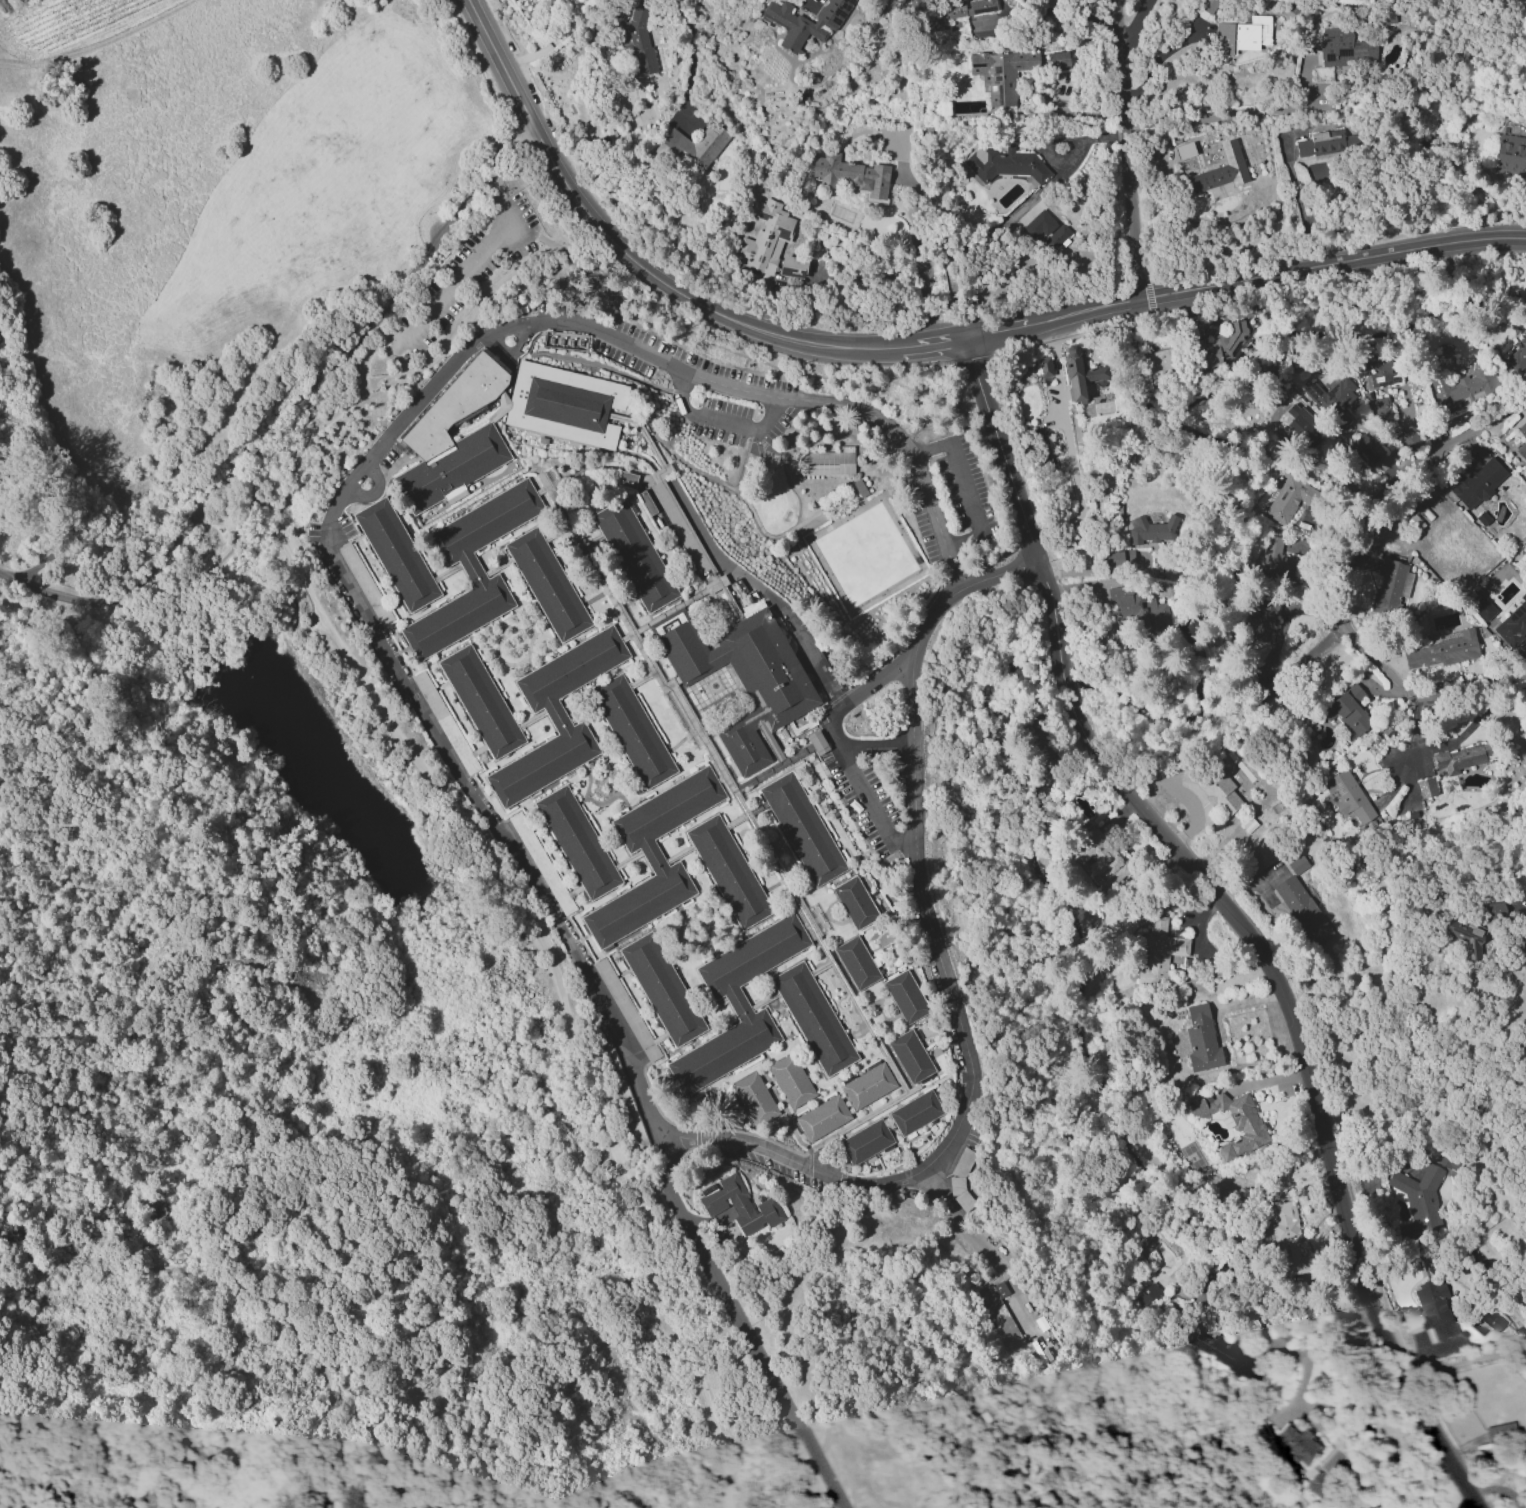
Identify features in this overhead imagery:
building: (1207, 5)
road: (1052, 10)
building: (955, 15)
building: (806, 21)
road: (1134, 25)
building: (1242, 35)
building: (636, 39)
road: (546, 47)
building: (1345, 48)
road: (691, 60)
building: (1057, 60)
road: (1154, 63)
building: (1002, 73)
road: (1072, 113)
road: (1235, 114)
building: (1327, 143)
building: (696, 148)
road: (1124, 148)
building: (1184, 150)
building: (1510, 156)
building: (1005, 164)
road: (494, 168)
building: (1222, 169)
building: (851, 174)
road: (1296, 201)
building: (1039, 224)
building: (1057, 237)
road: (546, 238)
building: (765, 238)
road: (918, 255)
building: (792, 267)
parking lot: (468, 271)
road: (470, 278)
road: (462, 323)
road: (918, 343)
building: (1222, 344)
building: (1517, 358)
building: (1361, 365)
building: (1045, 366)
building: (1159, 367)
building: (1382, 372)
road: (920, 373)
building: (1080, 374)
building: (1461, 388)
road: (745, 391)
building: (1334, 400)
building: (1380, 408)
building: (1304, 427)
road: (269, 432)
building: (577, 433)
building: (453, 437)
building: (1409, 440)
road: (1070, 444)
building: (1523, 445)
building: (1374, 453)
building: (828, 462)
building: (626, 479)
building: (1479, 482)
road: (963, 484)
building: (1290, 499)
building: (1152, 530)
building: (396, 554)
building: (634, 554)
building: (1275, 558)
building: (471, 569)
building: (357, 571)
road: (997, 573)
road: (1354, 575)
building: (547, 584)
building: (1391, 588)
road: (155, 604)
building: (1139, 608)
building: (1266, 620)
building: (1513, 624)
building: (1443, 651)
road: (813, 659)
building: (743, 679)
road: (873, 684)
building: (481, 701)
building: (1348, 712)
building: (556, 716)
building: (632, 731)
road: (878, 746)
road: (1441, 747)
building: (1457, 759)
building: (1214, 788)
building: (1426, 788)
building: (1348, 796)
building: (802, 828)
building: (577, 842)
building: (653, 856)
building: (1099, 858)
building: (541, 863)
building: (1297, 864)
building: (728, 871)
road: (502, 878)
building: (855, 902)
road: (1507, 908)
building: (1303, 910)
building: (1492, 911)
road: (1233, 912)
building: (1466, 937)
building: (1158, 950)
building: (856, 962)
building: (662, 989)
building: (905, 996)
building: (738, 1003)
building: (627, 1010)
building: (813, 1018)
building: (1201, 1038)
road: (1011, 1049)
building: (910, 1056)
road: (180, 1077)
building: (791, 1080)
building: (868, 1085)
building: (754, 1098)
building: (915, 1112)
building: (822, 1118)
building: (1234, 1122)
building: (866, 1141)
building: (1420, 1198)
building: (741, 1205)
building: (1285, 1233)
road: (970, 1234)
building: (1148, 1296)
building: (1434, 1311)
building: (1000, 1314)
building: (1491, 1321)
road: (745, 1327)
road: (1312, 1341)
building: (1221, 1353)
road: (1463, 1364)
building: (1500, 1431)
building: (1311, 1459)
building: (1525, 1470)

